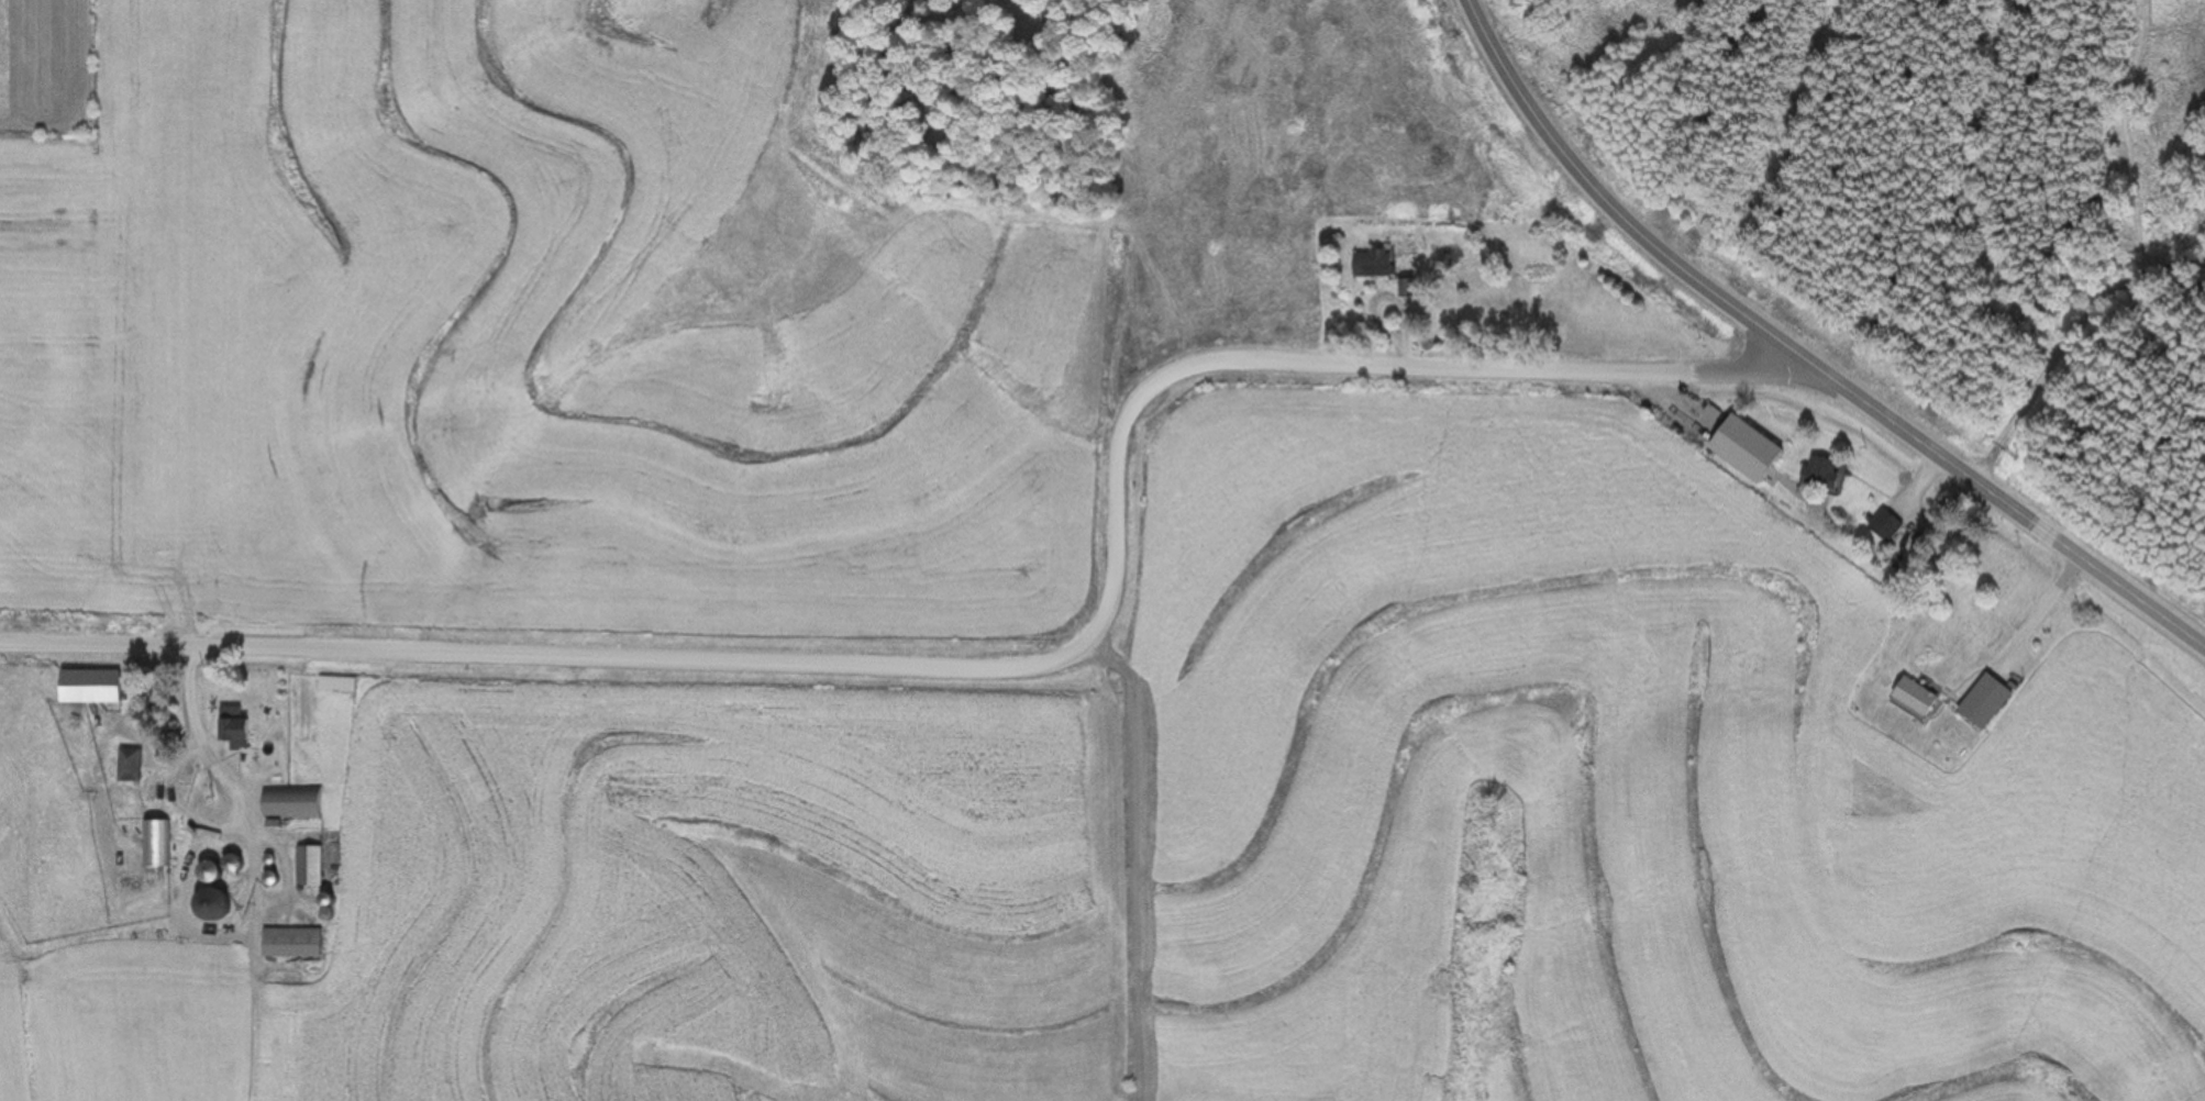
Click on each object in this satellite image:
building: (1369, 265)
building: (1404, 290)
road: (1797, 362)
building: (1815, 475)
building: (1881, 526)
road: (2039, 600)
road: (1020, 669)
building: (333, 686)
building: (85, 689)
building: (1912, 699)
building: (1982, 703)
building: (230, 731)
building: (126, 767)
building: (288, 805)
building: (153, 845)
building: (306, 868)
building: (204, 905)
building: (288, 944)

